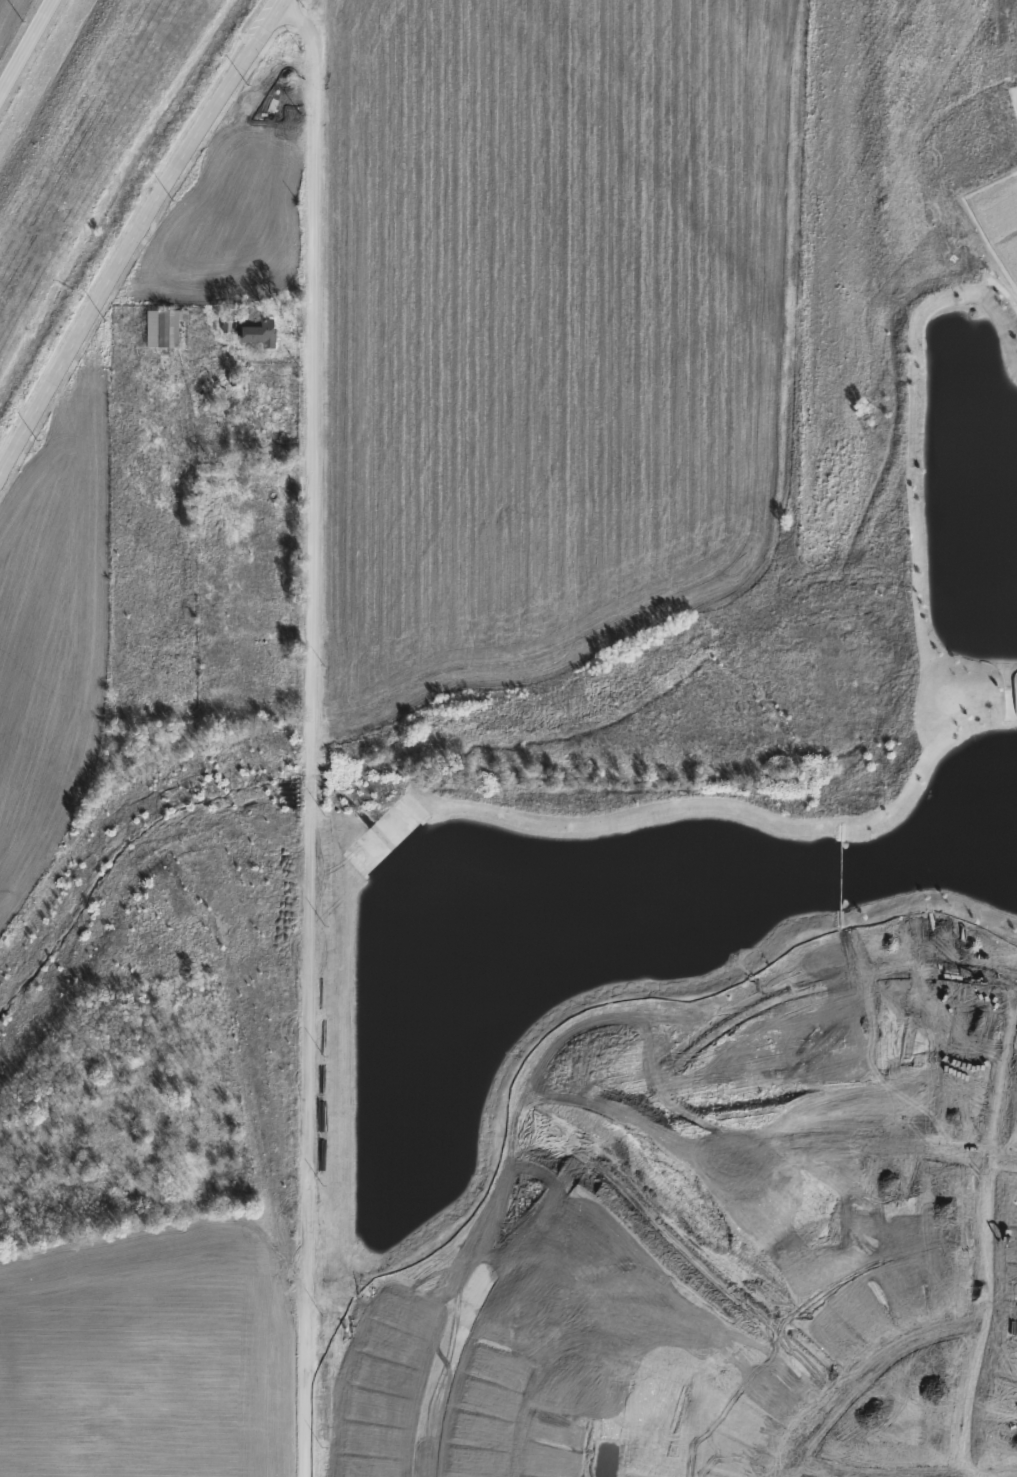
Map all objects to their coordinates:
road: (1008, 37)
road: (26, 46)
road: (140, 236)
building: (160, 327)
building: (248, 329)
road: (818, 534)
park: (638, 666)
road: (313, 734)
road: (632, 1112)
road: (759, 1237)
road: (987, 1246)
road: (722, 1270)
road: (868, 1372)
park: (906, 1413)
road: (832, 1473)

